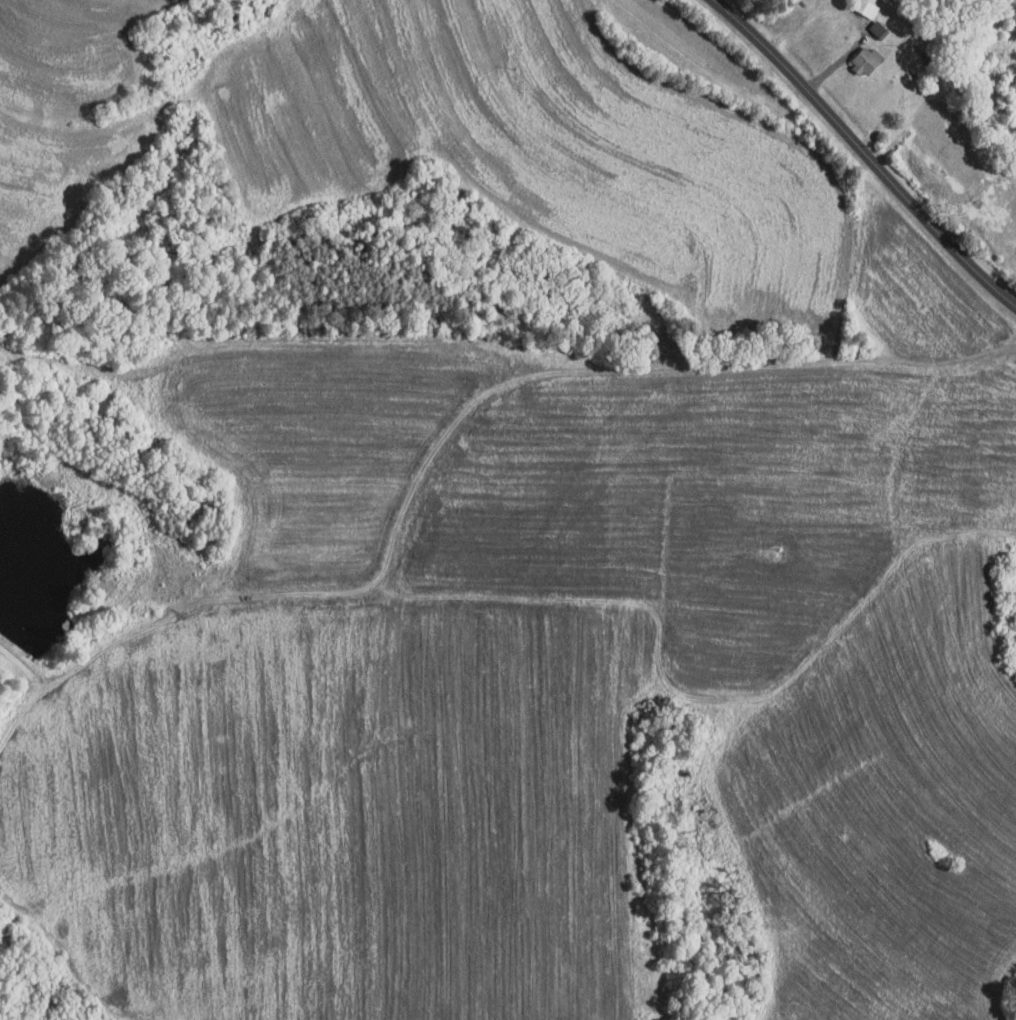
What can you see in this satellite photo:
building: (856, 4)
building: (867, 22)
building: (855, 53)
road: (864, 153)

